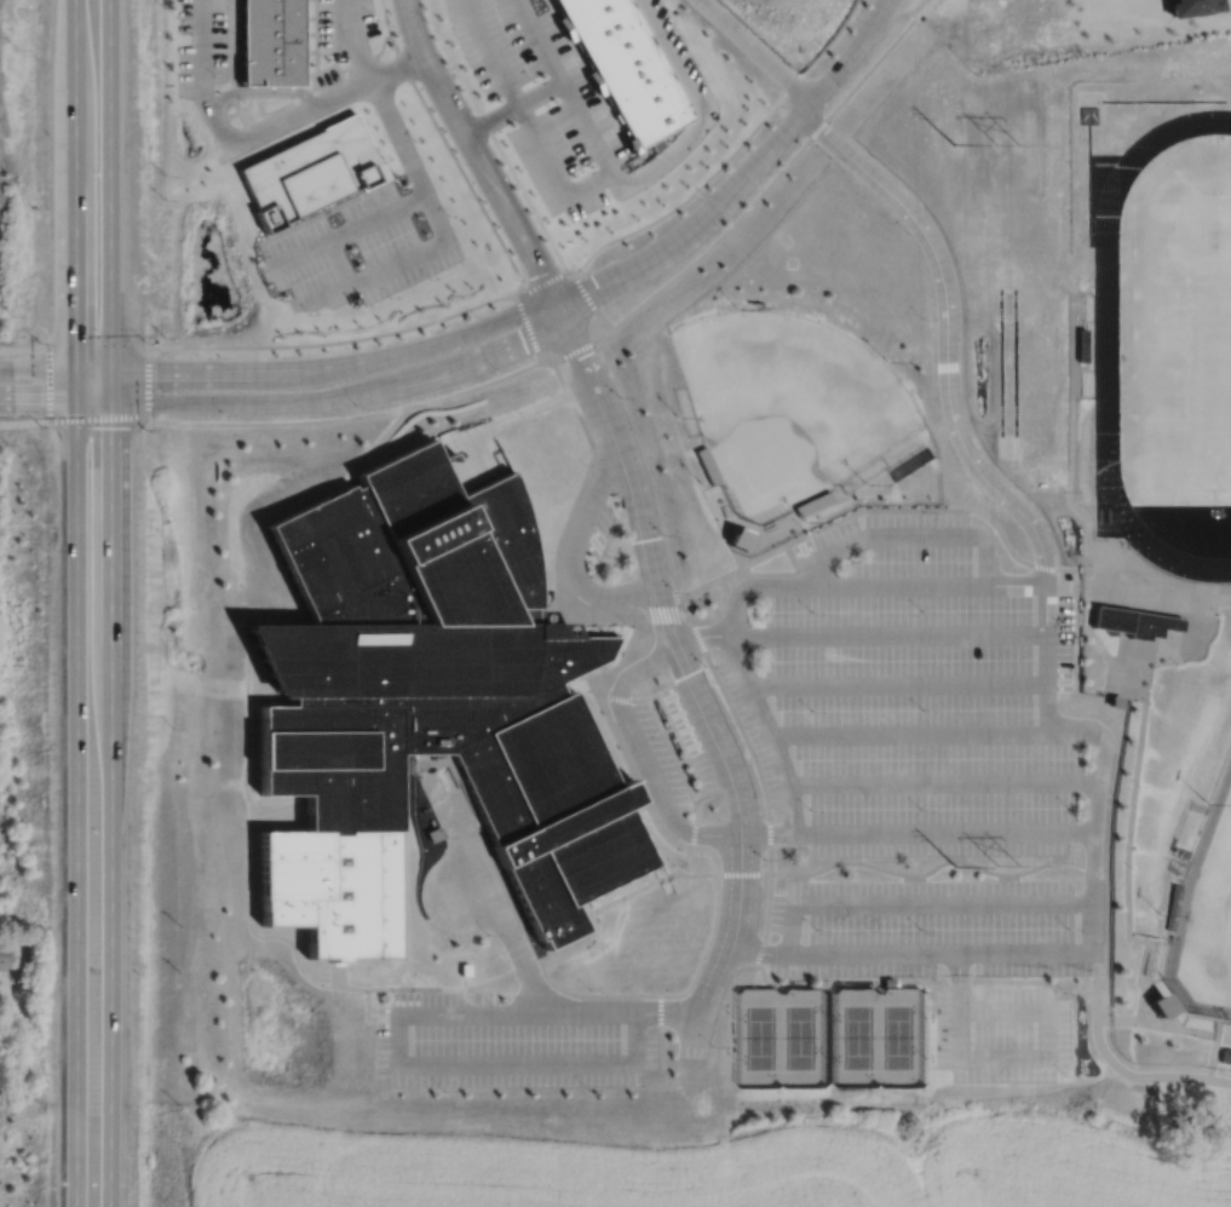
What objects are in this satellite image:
street lamp: (176, 17)
street lamp: (378, 21)
street lamp: (428, 22)
road: (868, 22)
road: (875, 22)
building: (563, 24)
road: (349, 41)
building: (270, 42)
road: (757, 48)
building: (626, 65)
street lamp: (176, 73)
building: (593, 79)
street lamp: (533, 80)
street lamp: (840, 85)
road: (260, 90)
road: (566, 93)
street lamp: (243, 102)
road: (512, 107)
road: (701, 107)
road: (527, 121)
road: (257, 128)
power tower: (1003, 142)
building: (628, 143)
power tower: (951, 143)
road: (730, 154)
road: (477, 155)
street lamp: (829, 156)
street lamp: (461, 161)
road: (412, 167)
building: (311, 168)
road: (767, 185)
street lamp: (703, 194)
road: (726, 196)
road: (344, 230)
street lamp: (908, 231)
road: (339, 260)
road: (372, 271)
street lamp: (582, 272)
road: (542, 281)
road: (587, 300)
street lamp: (922, 316)
road: (529, 327)
road: (947, 335)
road: (334, 343)
park: (1187, 345)
building: (1080, 346)
road: (24, 349)
track: (1105, 350)
road: (573, 352)
track: (1007, 361)
traffic signals: (76, 368)
traffic signals: (109, 368)
road: (283, 368)
road: (48, 379)
road: (148, 385)
road: (476, 386)
street lamp: (620, 396)
street lamp: (922, 396)
road: (289, 398)
traffic signals: (76, 401)
traffic signals: (109, 401)
road: (535, 406)
park: (786, 406)
road: (98, 415)
road: (278, 420)
road: (454, 437)
road: (378, 438)
road: (477, 459)
building: (812, 502)
road: (905, 508)
road: (581, 522)
parking lot: (594, 529)
street lamp: (662, 534)
road: (910, 535)
road: (562, 536)
building: (735, 539)
road: (596, 562)
road: (788, 586)
road: (928, 586)
road: (1122, 591)
road: (732, 599)
road: (76, 603)
road: (108, 603)
road: (1045, 611)
building: (1129, 621)
building: (553, 630)
road: (886, 636)
road: (700, 638)
road: (1046, 660)
street lamp: (703, 663)
road: (688, 679)
road: (897, 685)
parking lot: (918, 685)
road: (1046, 691)
road: (1123, 695)
road: (629, 699)
building: (1111, 701)
building: (425, 708)
road: (1046, 715)
road: (667, 729)
road: (769, 731)
road: (908, 732)
road: (1063, 732)
road: (1093, 734)
parking lot: (677, 749)
road: (671, 752)
road: (639, 760)
road: (681, 760)
road: (691, 768)
road: (943, 784)
road: (454, 818)
road: (943, 832)
road: (767, 834)
road: (1093, 844)
street lamp: (764, 858)
power tower: (1003, 866)
power tower: (951, 867)
road: (743, 873)
road: (464, 891)
road: (919, 904)
park: (1206, 913)
road: (514, 947)
road: (748, 952)
building: (5, 953)
road: (942, 955)
road: (778, 956)
parking lot: (948, 961)
road: (697, 967)
road: (1098, 987)
building: (1160, 1005)
street lamp: (1114, 1010)
road: (589, 1012)
road: (667, 1012)
road: (1152, 1024)
road: (660, 1031)
park: (799, 1036)
park: (858, 1036)
park: (897, 1036)
park: (759, 1038)
parking lot: (508, 1044)
road: (1214, 1046)
building: (1225, 1056)
road: (1019, 1058)
road: (441, 1062)
road: (1146, 1075)
crop: (708, 1167)

